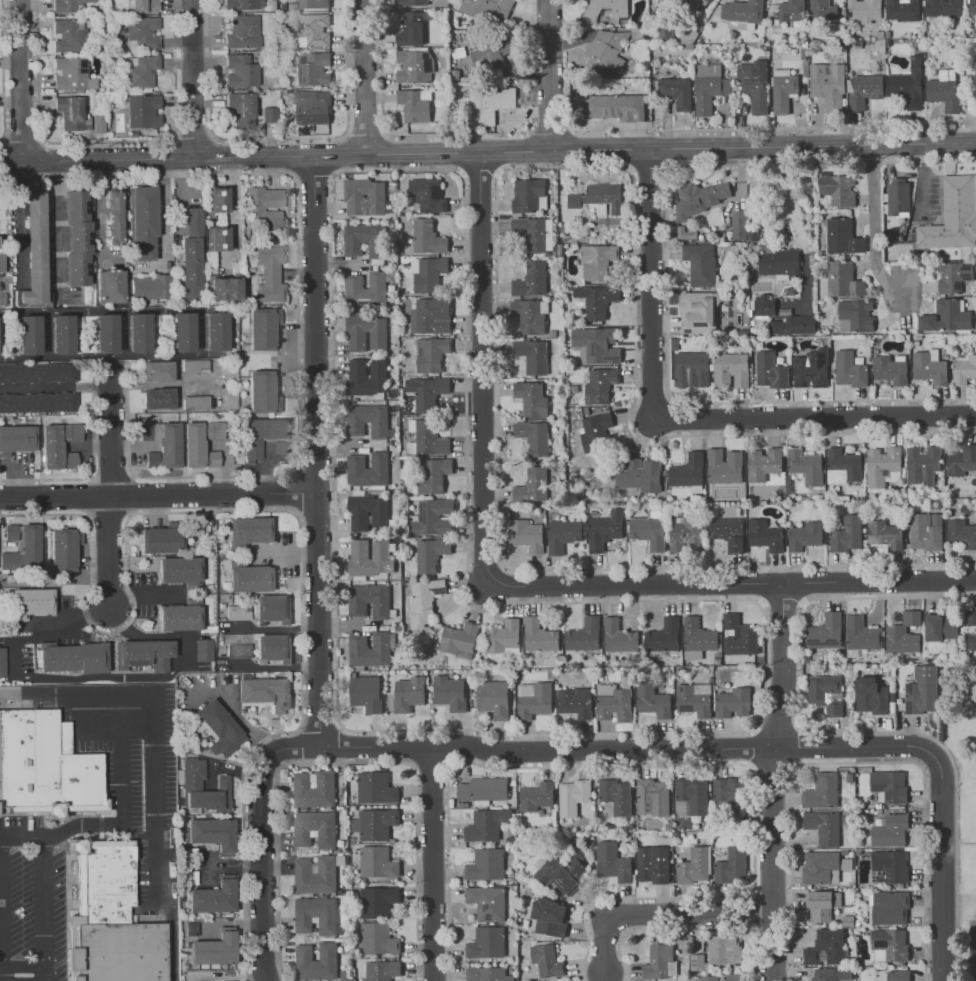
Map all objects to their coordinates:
building: (411, 2)
building: (698, 3)
building: (242, 4)
building: (313, 4)
building: (68, 5)
building: (271, 5)
building: (144, 6)
building: (942, 7)
building: (971, 7)
building: (605, 8)
building: (488, 9)
building: (823, 10)
building: (866, 10)
building: (903, 10)
building: (792, 11)
building: (743, 14)
building: (848, 16)
building: (313, 30)
building: (411, 30)
building: (243, 32)
building: (142, 34)
building: (640, 34)
building: (686, 35)
building: (880, 35)
building: (69, 36)
building: (479, 37)
building: (858, 44)
building: (689, 46)
building: (736, 47)
building: (93, 51)
building: (100, 51)
building: (607, 51)
building: (804, 53)
building: (492, 54)
building: (416, 67)
building: (806, 68)
building: (313, 69)
road: (4, 71)
building: (241, 71)
building: (141, 72)
building: (70, 73)
road: (549, 75)
building: (458, 76)
road: (364, 77)
road: (192, 79)
road: (20, 80)
building: (975, 81)
building: (755, 85)
building: (829, 85)
building: (908, 86)
building: (709, 87)
building: (784, 90)
building: (865, 90)
building: (943, 90)
building: (287, 91)
building: (677, 92)
road: (382, 98)
building: (490, 104)
building: (416, 105)
building: (312, 107)
building: (616, 107)
building: (241, 108)
building: (143, 111)
building: (72, 114)
building: (269, 115)
building: (282, 117)
road: (614, 123)
building: (99, 124)
road: (804, 127)
road: (365, 133)
building: (133, 134)
road: (279, 139)
road: (23, 141)
road: (194, 141)
road: (107, 143)
road: (950, 143)
road: (462, 153)
road: (920, 181)
building: (838, 189)
building: (427, 194)
building: (529, 195)
building: (365, 197)
building: (599, 198)
building: (699, 198)
building: (898, 198)
building: (217, 199)
road: (233, 205)
building: (265, 208)
road: (99, 210)
building: (953, 215)
building: (113, 216)
building: (192, 221)
building: (142, 222)
road: (20, 224)
building: (738, 224)
road: (795, 225)
road: (874, 225)
road: (165, 227)
road: (57, 229)
building: (535, 233)
building: (427, 236)
building: (843, 237)
building: (76, 238)
building: (217, 238)
building: (364, 240)
building: (34, 249)
building: (597, 261)
building: (1, 262)
building: (700, 263)
building: (778, 264)
building: (190, 268)
building: (269, 272)
building: (428, 273)
building: (953, 275)
building: (532, 279)
building: (843, 280)
road: (653, 282)
building: (110, 286)
building: (149, 286)
building: (223, 288)
building: (366, 288)
road: (0, 298)
building: (597, 299)
building: (765, 305)
building: (697, 312)
building: (530, 315)
building: (855, 315)
building: (431, 316)
building: (946, 316)
building: (792, 325)
building: (262, 328)
building: (215, 331)
building: (138, 332)
building: (182, 332)
road: (200, 332)
building: (105, 333)
building: (366, 333)
building: (61, 334)
building: (28, 335)
building: (597, 344)
building: (431, 354)
building: (532, 355)
building: (194, 366)
building: (929, 366)
road: (484, 368)
building: (890, 368)
building: (691, 369)
building: (811, 369)
building: (849, 369)
building: (731, 370)
building: (963, 370)
building: (156, 371)
building: (770, 371)
building: (37, 372)
building: (367, 376)
road: (110, 377)
road: (161, 385)
building: (600, 385)
road: (55, 386)
building: (262, 392)
building: (427, 392)
building: (157, 398)
building: (532, 399)
building: (37, 402)
building: (195, 402)
road: (816, 416)
building: (367, 420)
building: (595, 431)
building: (262, 434)
building: (533, 437)
building: (429, 438)
building: (16, 439)
building: (198, 440)
road: (112, 441)
building: (163, 441)
building: (58, 445)
building: (281, 447)
building: (151, 459)
building: (210, 459)
building: (961, 460)
building: (763, 463)
building: (922, 464)
building: (724, 466)
building: (805, 466)
building: (843, 466)
building: (883, 466)
building: (368, 469)
building: (688, 472)
building: (433, 474)
building: (640, 475)
building: (532, 485)
road: (159, 496)
road: (287, 510)
building: (368, 513)
building: (433, 517)
building: (604, 530)
building: (925, 530)
building: (247, 531)
building: (961, 531)
building: (649, 532)
building: (728, 532)
building: (686, 534)
building: (847, 534)
building: (885, 534)
building: (526, 535)
building: (563, 535)
building: (765, 535)
building: (805, 536)
building: (159, 540)
building: (21, 547)
building: (63, 548)
road: (109, 552)
building: (431, 554)
building: (370, 557)
building: (178, 570)
building: (248, 577)
road: (879, 580)
road: (635, 583)
road: (318, 591)
road: (144, 592)
building: (369, 600)
building: (424, 601)
building: (31, 602)
building: (272, 608)
building: (237, 612)
building: (179, 617)
building: (911, 617)
building: (941, 627)
building: (970, 629)
building: (826, 632)
building: (860, 633)
road: (44, 634)
building: (583, 635)
building: (539, 636)
building: (619, 636)
building: (663, 636)
building: (739, 636)
road: (161, 637)
building: (503, 637)
building: (459, 638)
building: (697, 638)
building: (901, 639)
building: (273, 648)
building: (371, 649)
building: (202, 650)
building: (143, 654)
building: (73, 657)
building: (2, 661)
road: (98, 677)
building: (922, 690)
road: (93, 691)
building: (450, 692)
building: (265, 693)
building: (366, 693)
building: (409, 693)
building: (827, 693)
building: (871, 696)
building: (494, 698)
building: (534, 699)
building: (694, 699)
building: (652, 700)
building: (575, 702)
building: (733, 702)
building: (613, 703)
road: (84, 723)
road: (138, 723)
building: (217, 728)
road: (741, 747)
road: (346, 762)
road: (856, 762)
road: (676, 763)
building: (45, 766)
road: (774, 781)
building: (193, 782)
building: (889, 786)
building: (376, 788)
building: (314, 789)
building: (483, 789)
building: (822, 791)
building: (536, 796)
building: (572, 796)
building: (616, 796)
building: (728, 796)
building: (653, 797)
building: (691, 797)
road: (122, 820)
building: (375, 823)
building: (487, 824)
building: (824, 826)
building: (315, 828)
building: (890, 831)
building: (212, 834)
road: (158, 853)
building: (377, 862)
building: (612, 862)
road: (431, 863)
building: (652, 864)
building: (486, 865)
building: (731, 865)
building: (695, 866)
building: (889, 866)
building: (821, 867)
building: (563, 872)
building: (317, 874)
building: (213, 897)
building: (377, 901)
building: (488, 902)
building: (822, 905)
building: (890, 908)
road: (2, 910)
road: (45, 910)
road: (667, 913)
parking lot: (30, 914)
building: (316, 915)
building: (550, 917)
building: (110, 918)
road: (686, 929)
building: (378, 938)
building: (487, 943)
building: (889, 945)
building: (827, 946)
building: (214, 949)
building: (724, 949)
building: (316, 961)
building: (545, 961)
building: (660, 961)
building: (696, 962)
road: (23, 966)
building: (381, 970)
building: (487, 974)
building: (824, 974)
building: (844, 974)
building: (898, 975)
building: (733, 977)
building: (709, 978)
building: (237, 980)

